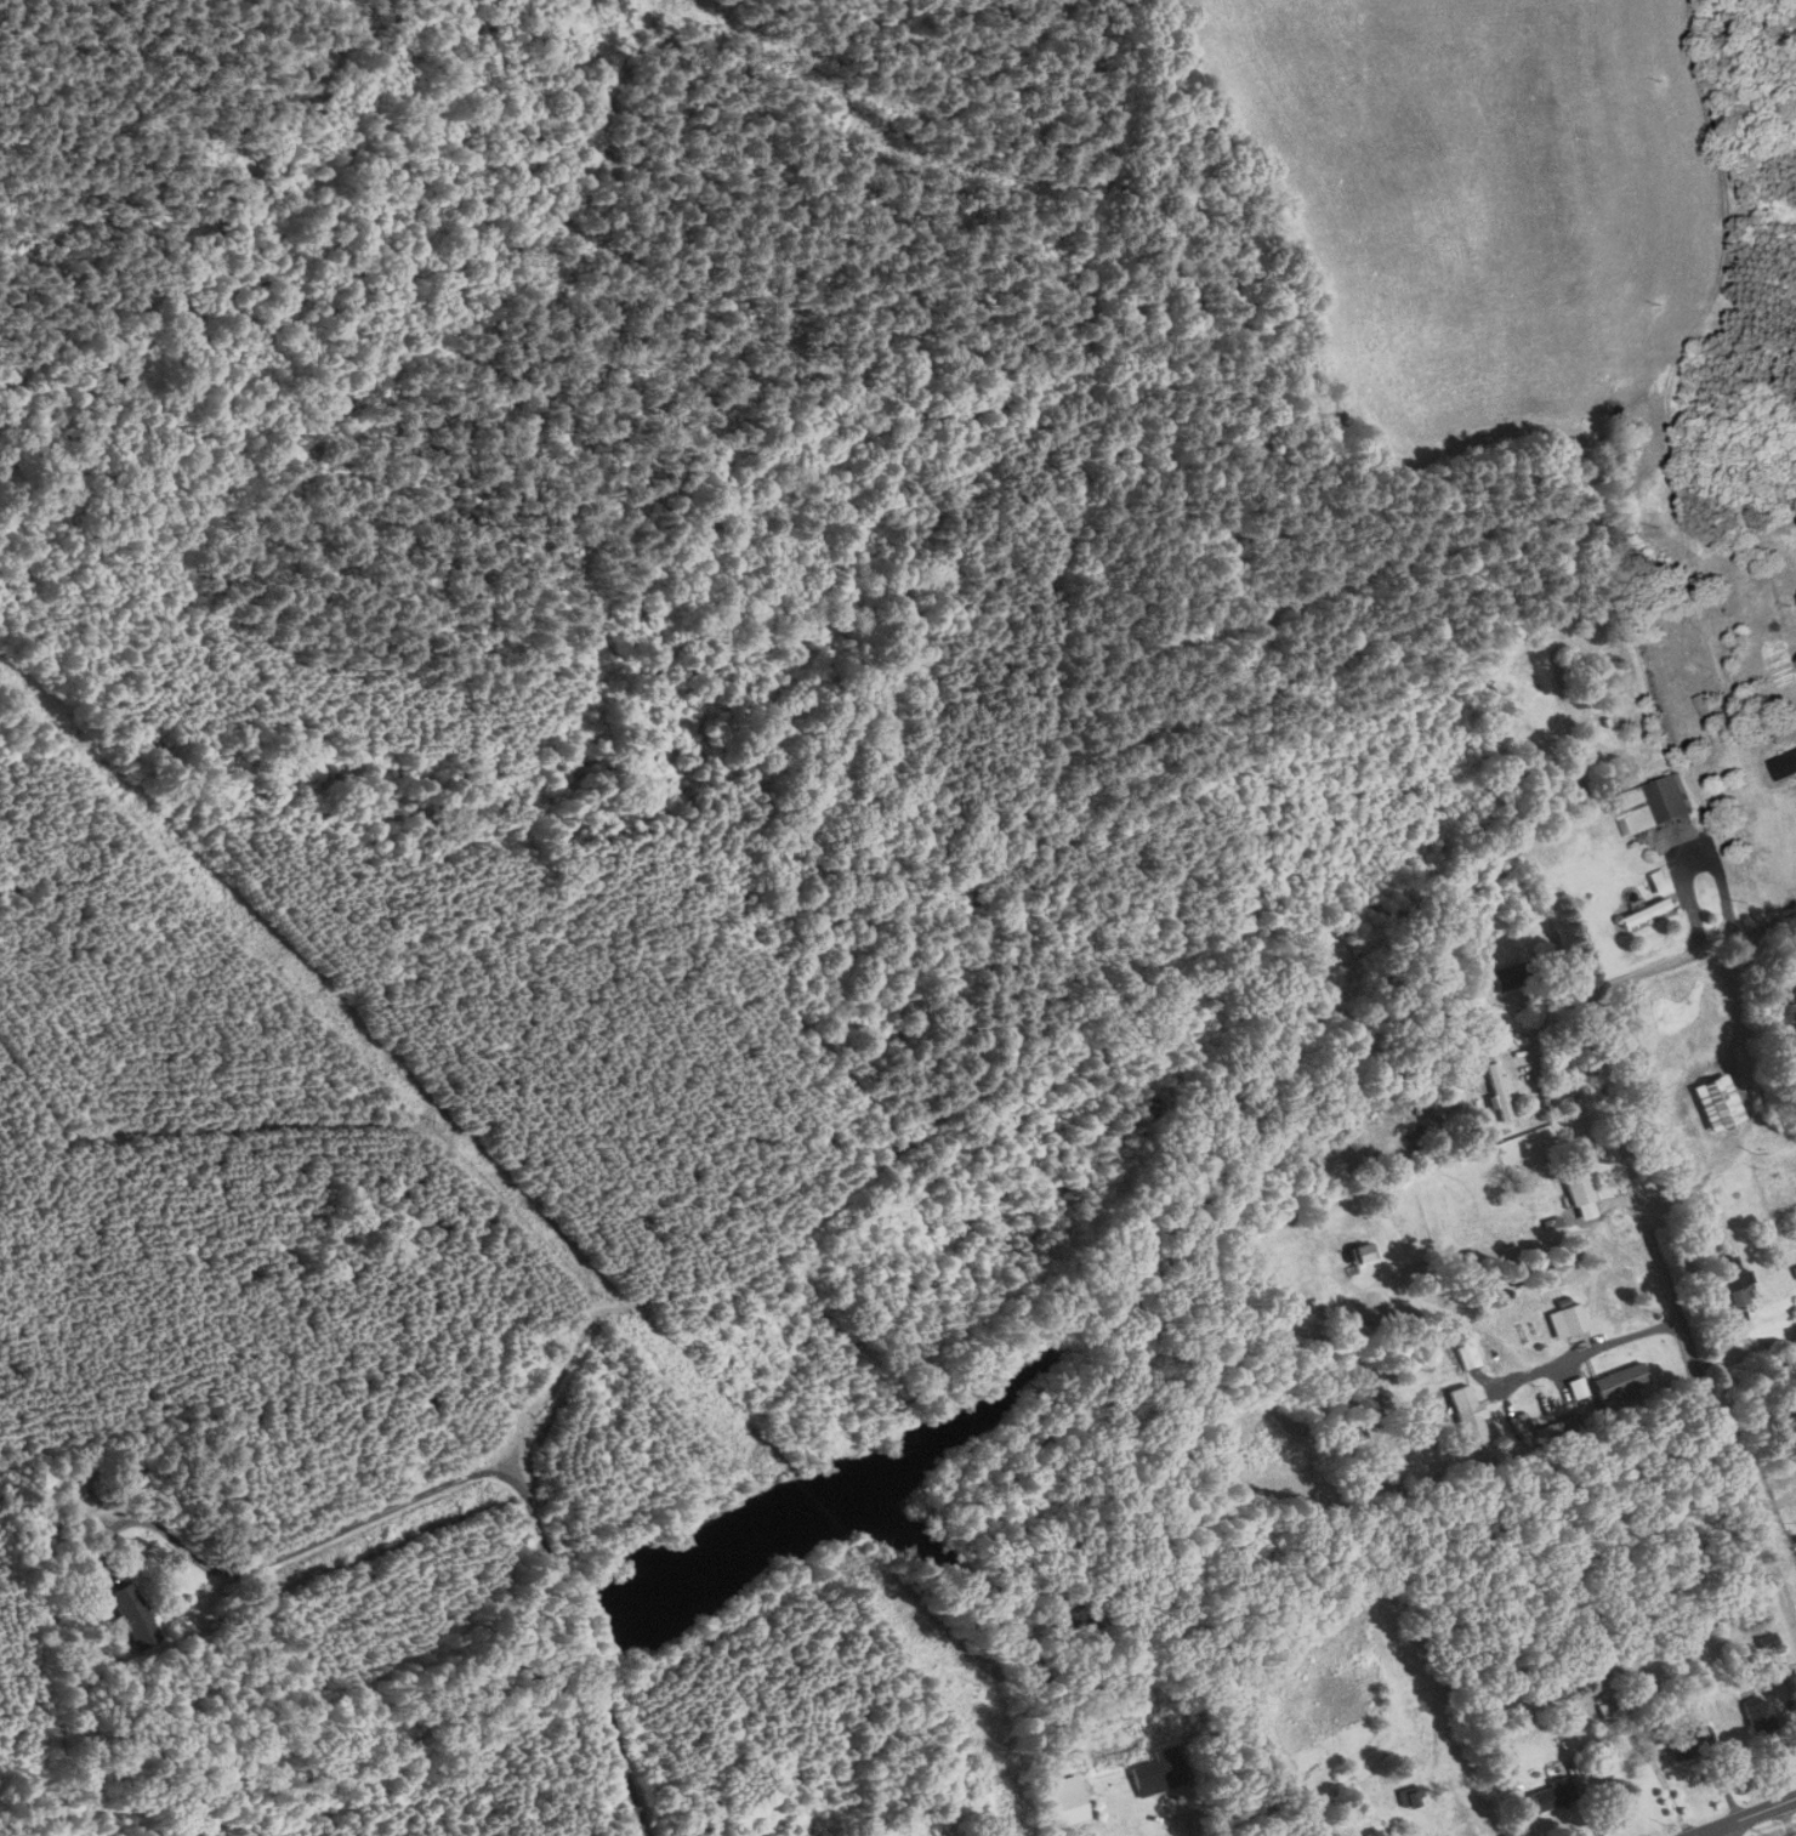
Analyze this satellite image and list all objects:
building: (1781, 774)
building: (1654, 805)
building: (1646, 913)
building: (1329, 948)
road: (1656, 967)
building: (1511, 976)
building: (1499, 1091)
building: (1718, 1103)
building: (1581, 1194)
building: (1795, 1269)
building: (1735, 1279)
building: (1568, 1320)
road: (1690, 1343)
road: (1595, 1349)
building: (1459, 1359)
building: (1622, 1383)
building: (1484, 1429)
road: (465, 1476)
building: (135, 1616)
building: (1758, 1715)
building: (1689, 1739)
building: (1155, 1769)
building: (1552, 1795)
road: (1744, 1815)
road: (1721, 1830)
building: (1379, 1832)
road: (1198, 1835)

